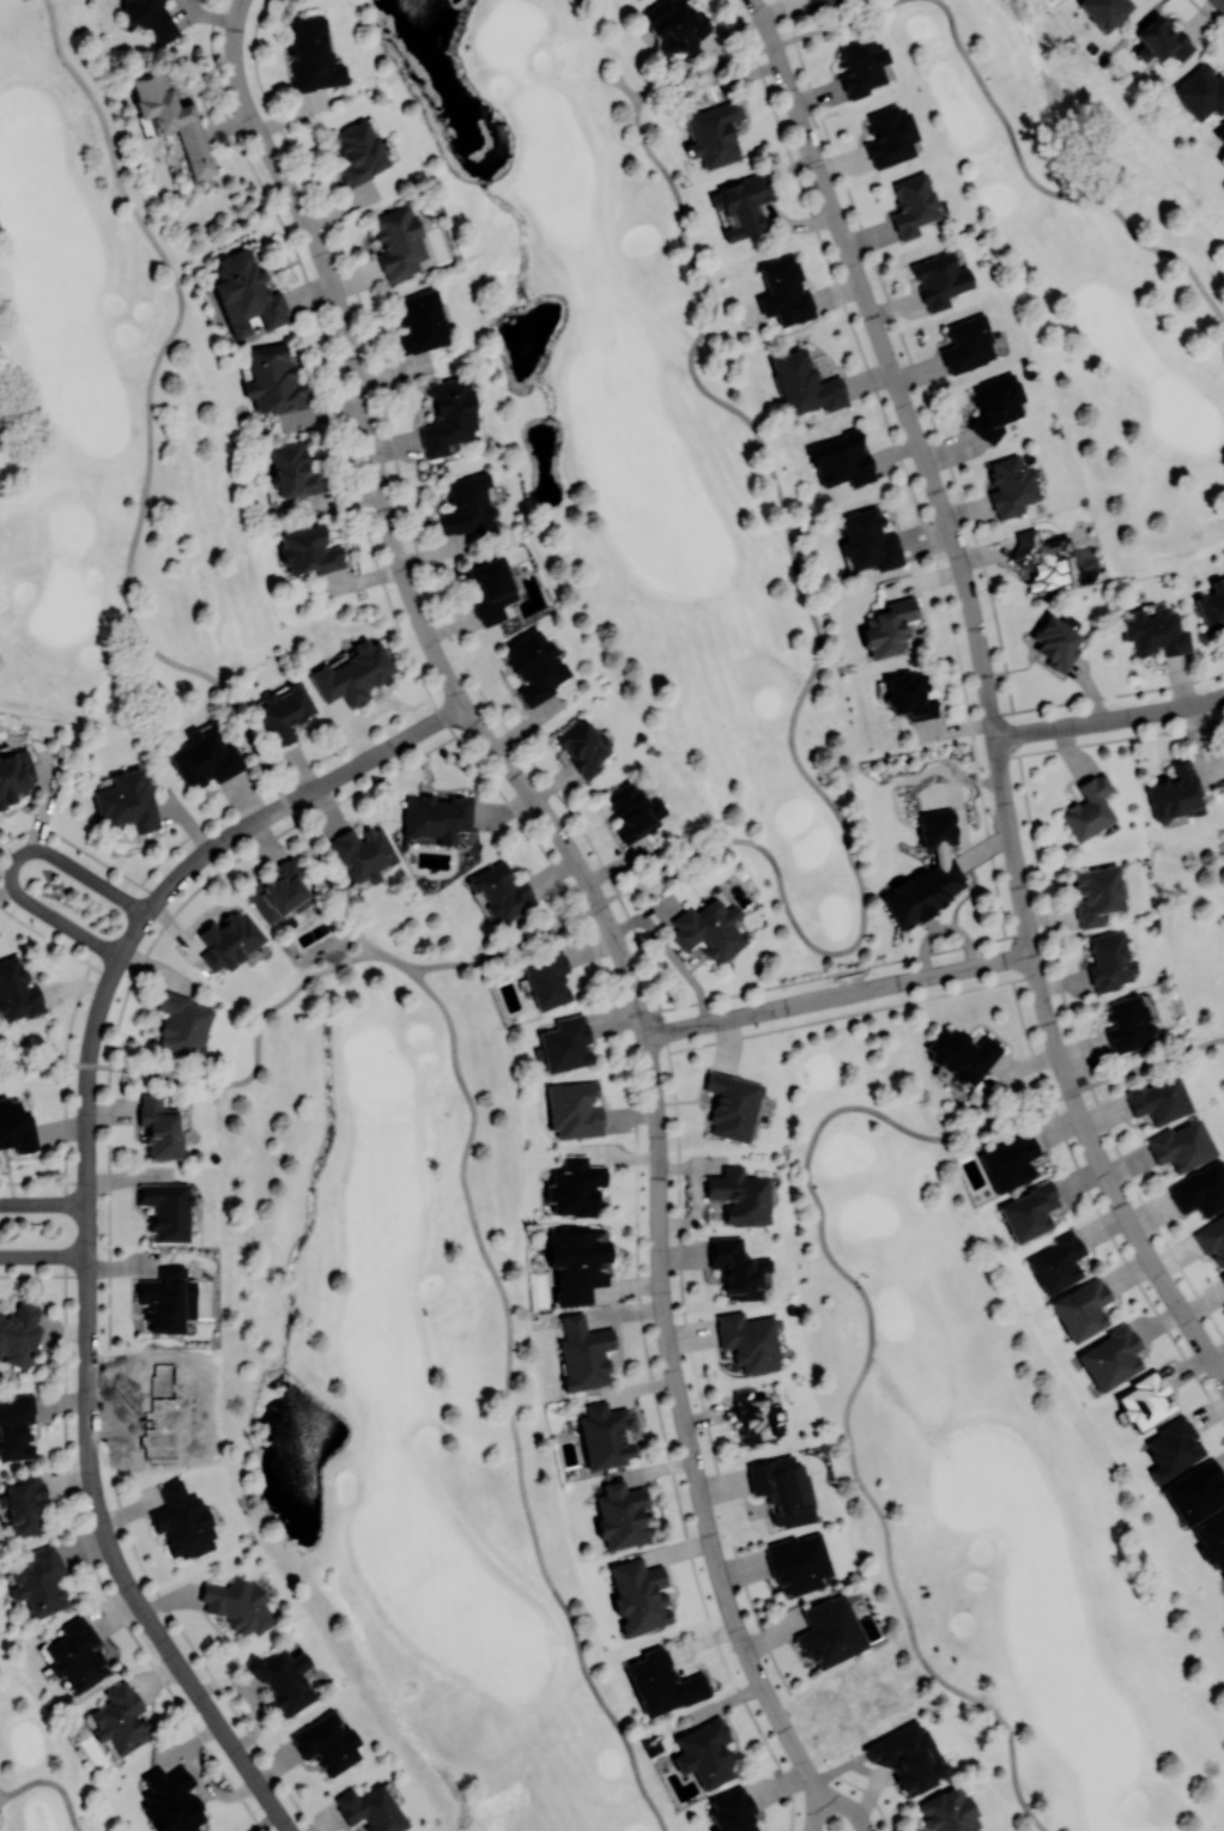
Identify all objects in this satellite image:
road: (1223, 0)
building: (819, 2)
building: (1105, 11)
building: (146, 13)
road: (835, 20)
building: (675, 24)
building: (1159, 40)
building: (311, 54)
road: (598, 65)
building: (861, 65)
road: (705, 68)
road: (629, 90)
building: (1200, 91)
building: (170, 119)
building: (714, 132)
building: (1220, 133)
building: (889, 135)
building: (358, 152)
road: (1054, 193)
building: (913, 204)
building: (741, 206)
building: (398, 241)
building: (939, 280)
building: (784, 291)
building: (244, 293)
building: (420, 321)
building: (967, 344)
building: (273, 380)
building: (804, 383)
building: (993, 406)
road: (151, 416)
building: (448, 416)
building: (841, 460)
road: (927, 467)
building: (293, 471)
building: (1011, 486)
building: (467, 507)
road: (392, 535)
building: (868, 540)
building: (309, 550)
building: (1041, 559)
building: (489, 589)
building: (1212, 607)
building: (887, 627)
building: (1155, 632)
building: (1054, 642)
building: (534, 665)
road: (814, 671)
building: (353, 674)
building: (909, 695)
building: (283, 710)
road: (1109, 720)
building: (581, 746)
building: (205, 758)
building: (13, 776)
building: (1173, 793)
building: (127, 801)
building: (1087, 808)
building: (634, 811)
building: (436, 817)
building: (362, 853)
road: (16, 863)
building: (926, 873)
road: (326, 878)
building: (277, 891)
building: (502, 891)
building: (1096, 893)
park: (817, 909)
building: (228, 939)
road: (510, 947)
road: (393, 958)
building: (1108, 960)
building: (546, 980)
building: (17, 990)
road: (838, 996)
building: (1127, 1023)
building: (182, 1024)
building: (565, 1044)
building: (961, 1054)
road: (44, 1062)
road: (1146, 1062)
road: (255, 1063)
building: (1158, 1099)
building: (732, 1105)
building: (574, 1109)
building: (16, 1126)
building: (159, 1127)
building: (1181, 1145)
building: (1008, 1160)
road: (1107, 1175)
building: (575, 1187)
building: (1200, 1189)
building: (739, 1195)
road: (87, 1202)
road: (43, 1204)
building: (166, 1209)
building: (1029, 1211)
building: (1211, 1238)
road: (43, 1256)
building: (577, 1262)
building: (1056, 1262)
building: (737, 1268)
building: (1220, 1277)
building: (166, 1299)
building: (1081, 1308)
building: (18, 1332)
building: (749, 1340)
building: (583, 1353)
building: (1110, 1357)
road: (865, 1365)
building: (1146, 1400)
road: (507, 1405)
park: (139, 1415)
building: (752, 1415)
building: (16, 1426)
park: (998, 1431)
building: (605, 1435)
road: (690, 1447)
building: (1173, 1447)
building: (782, 1490)
building: (1195, 1492)
building: (22, 1504)
building: (623, 1515)
building: (182, 1520)
building: (1211, 1539)
building: (798, 1563)
road: (92, 1565)
building: (1223, 1575)
building: (40, 1582)
building: (638, 1595)
building: (237, 1605)
building: (830, 1631)
building: (77, 1654)
building: (281, 1678)
building: (662, 1683)
building: (119, 1718)
building: (326, 1742)
building: (705, 1752)
building: (907, 1757)
park: (42, 1766)
road: (51, 1782)
building: (170, 1800)
building: (369, 1808)
building: (732, 1811)
building: (947, 1811)
road: (1, 1817)

